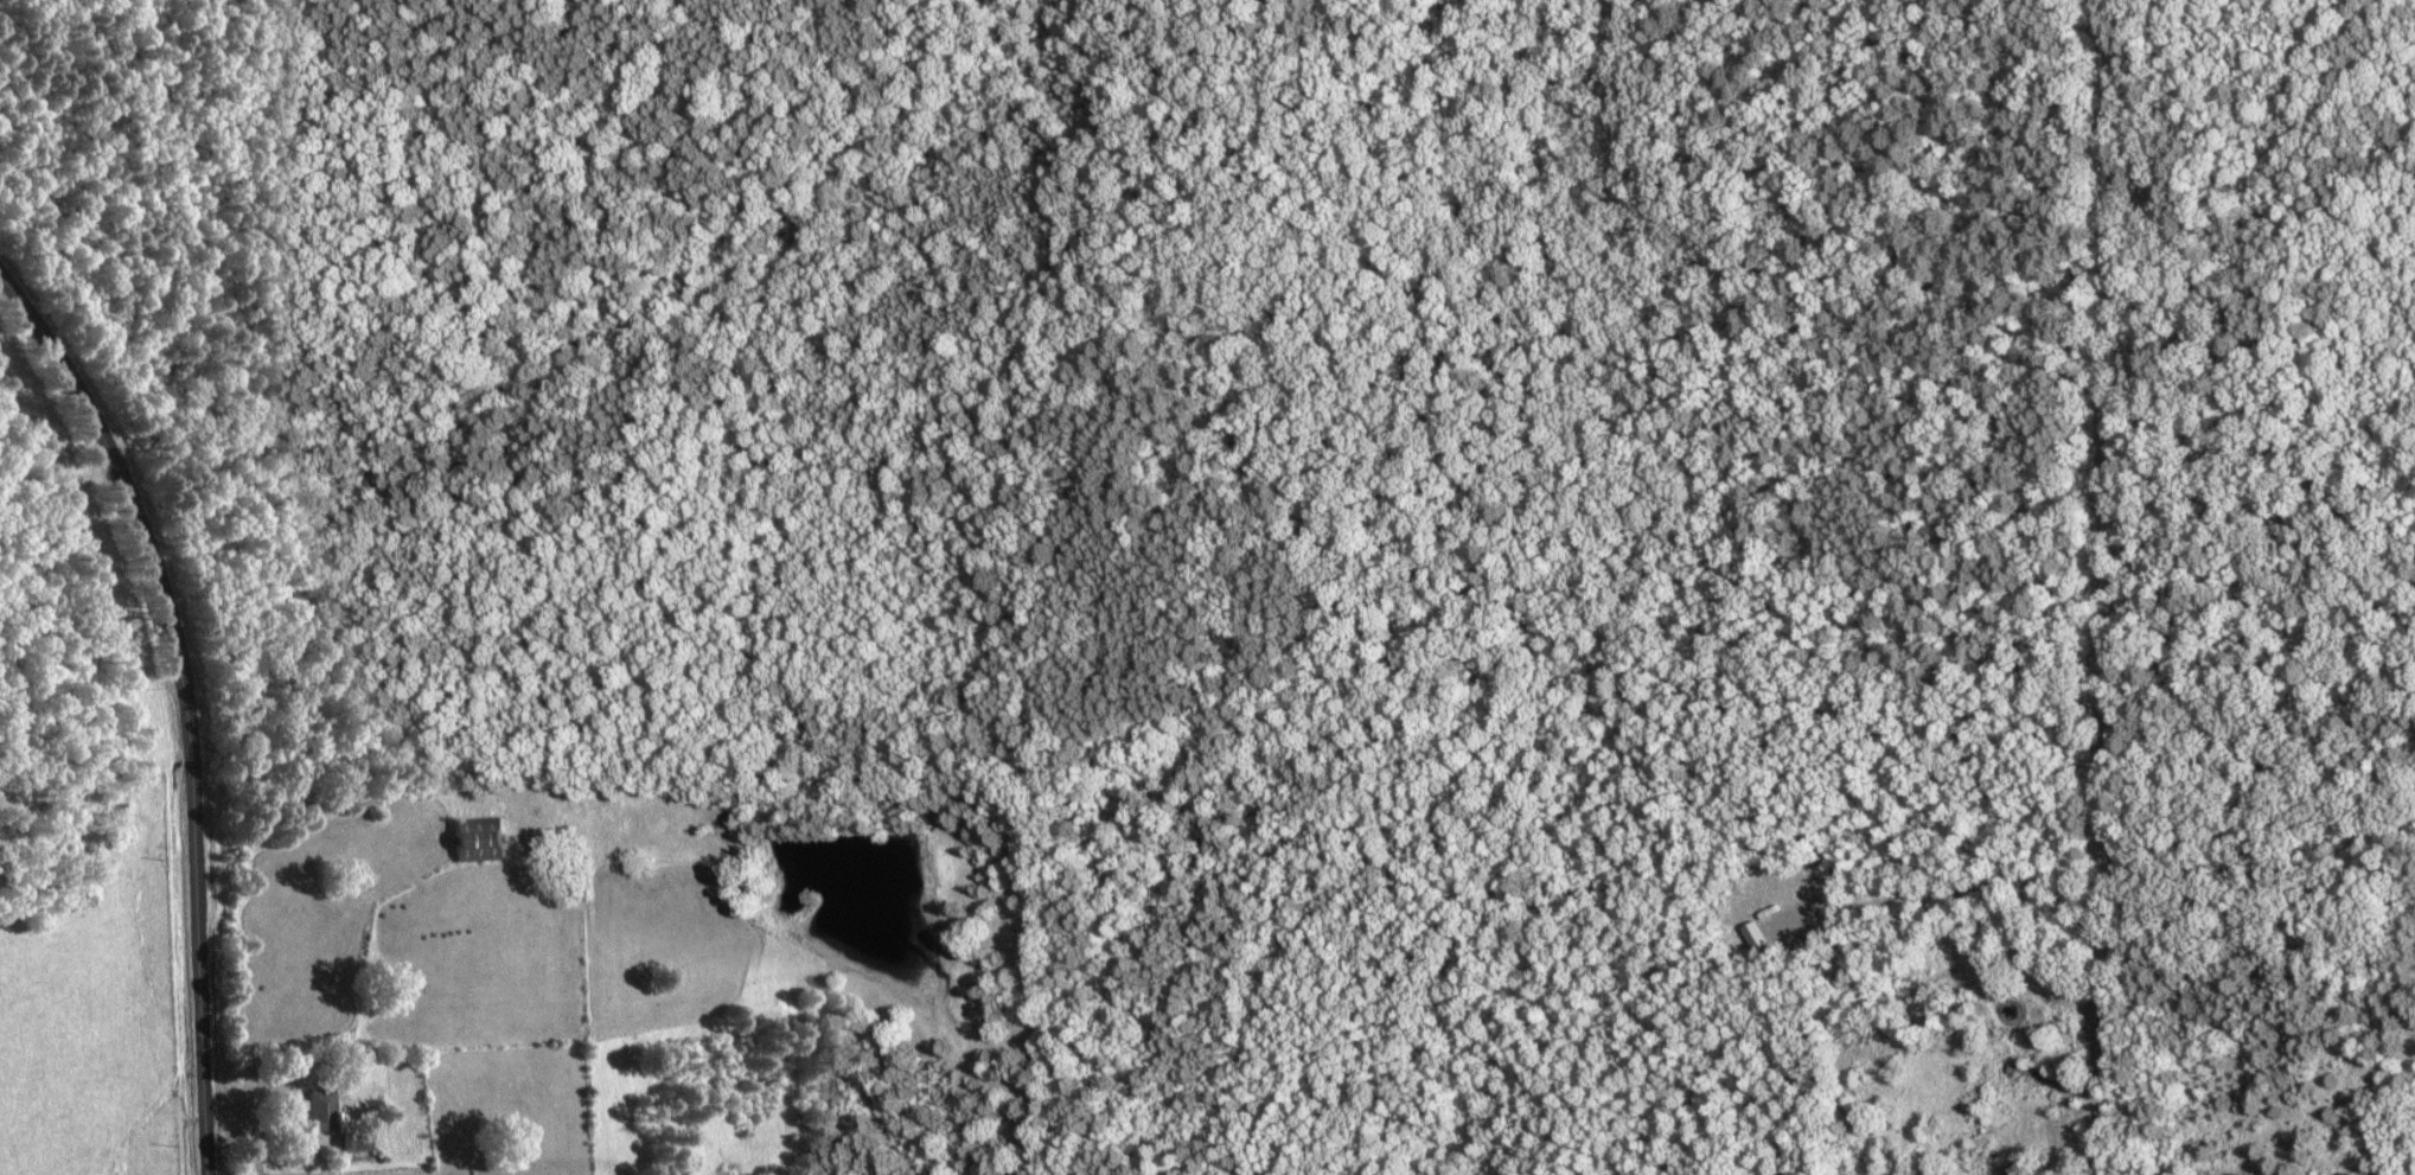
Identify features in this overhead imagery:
road: (2285, 513)
road: (2100, 585)
road: (173, 672)
building: (472, 843)
building: (2021, 1074)
building: (317, 1115)

